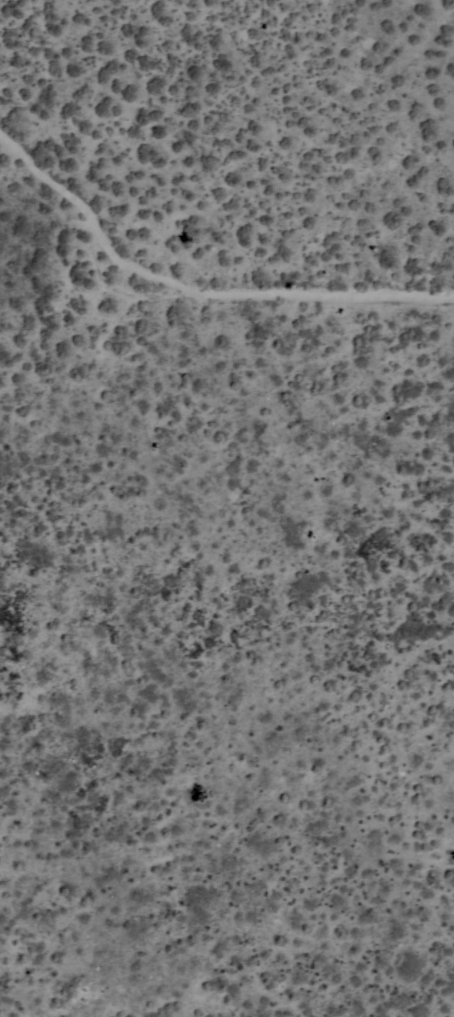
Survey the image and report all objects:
road: (194, 290)

